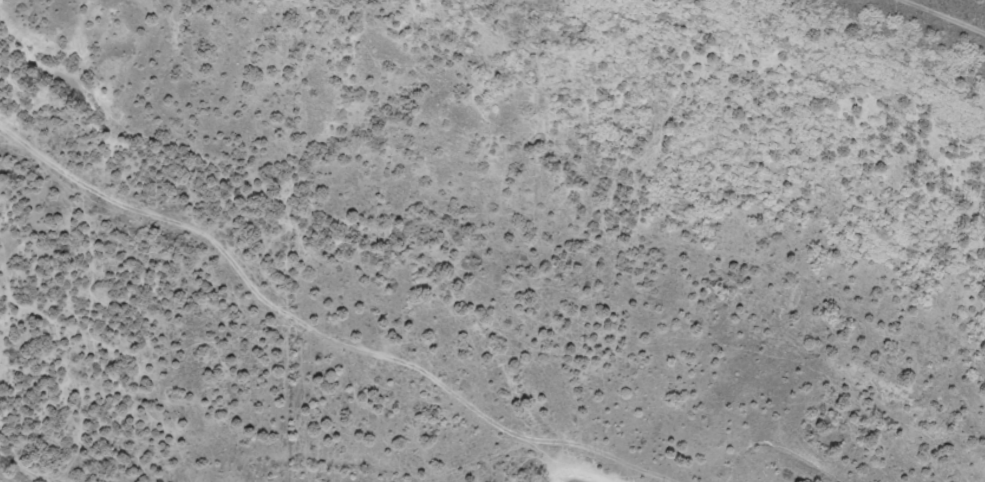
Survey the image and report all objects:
road: (935, 40)

